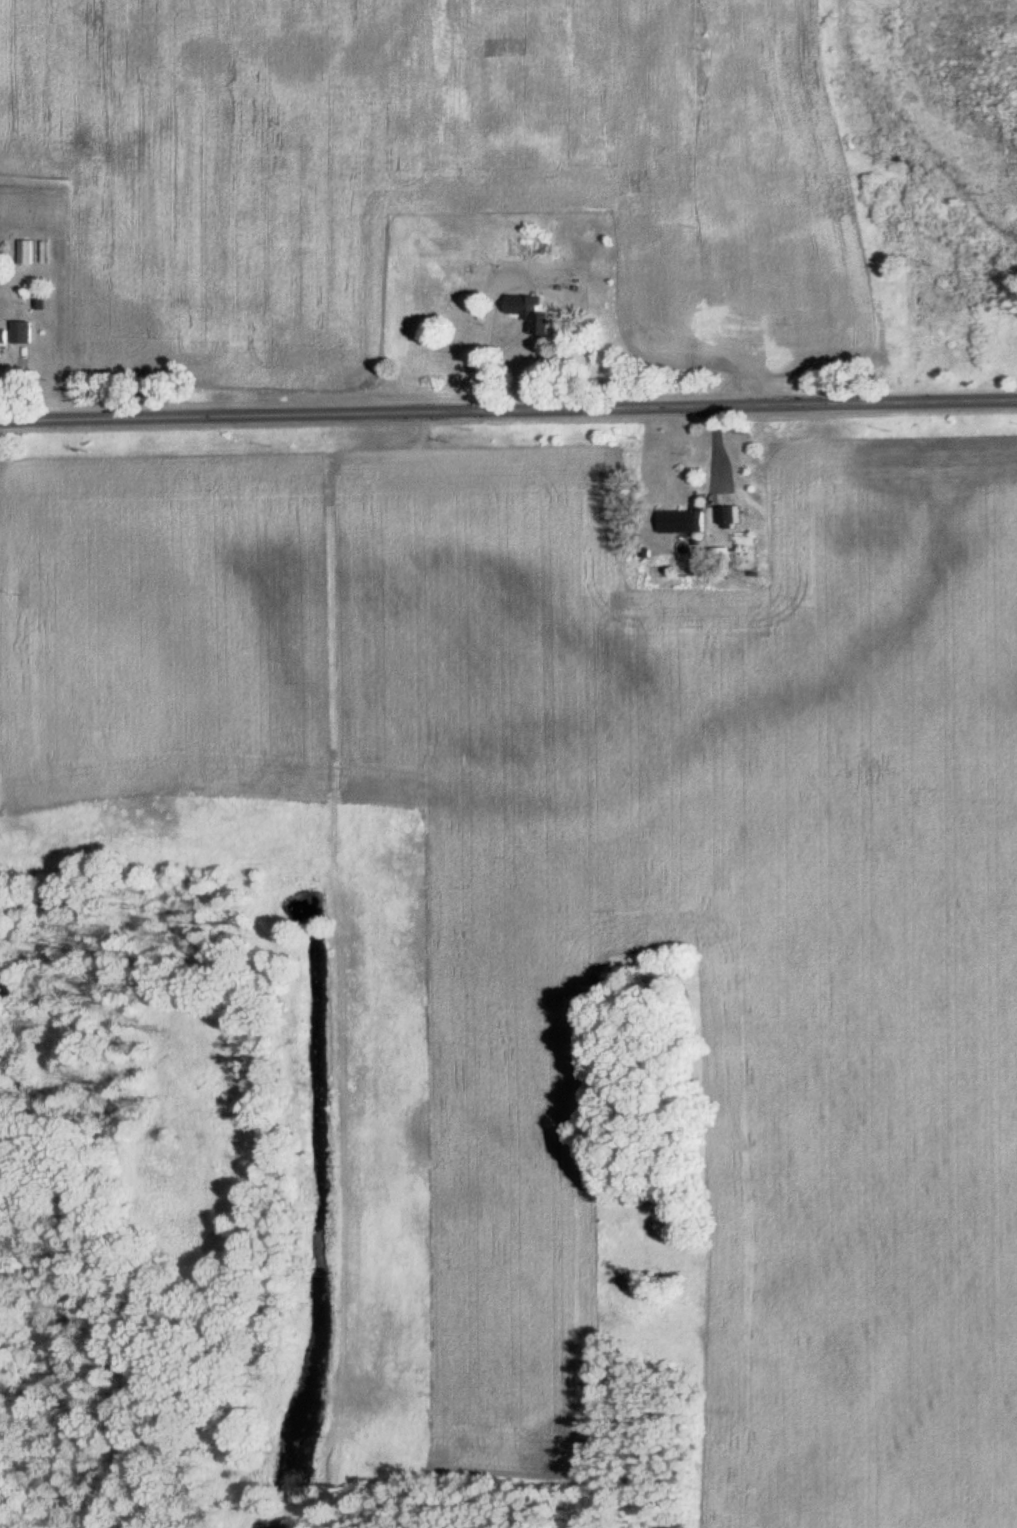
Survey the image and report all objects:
building: (537, 316)
building: (27, 336)
building: (4, 346)
road: (508, 411)
building: (732, 517)
building: (686, 523)
crop: (858, 1187)

